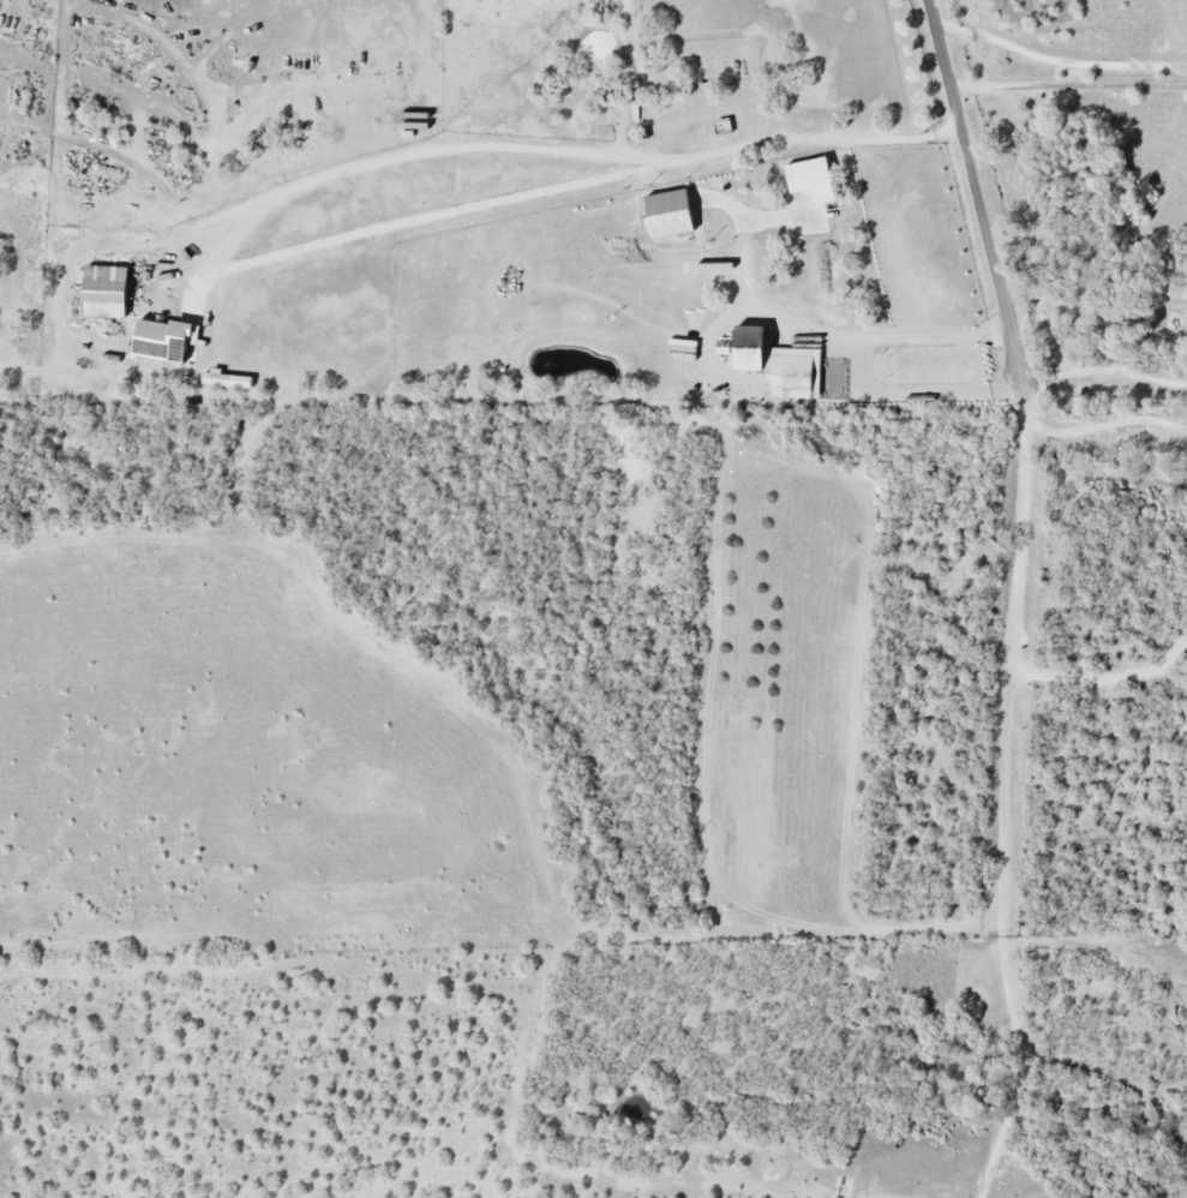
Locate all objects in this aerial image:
road: (1059, 60)
road: (1069, 88)
building: (726, 127)
road: (341, 172)
road: (978, 190)
building: (673, 215)
road: (748, 280)
building: (108, 292)
building: (166, 341)
building: (781, 364)
road: (840, 370)
road: (1105, 370)
building: (227, 381)
road: (1103, 424)
road: (1104, 676)
road: (1002, 793)

